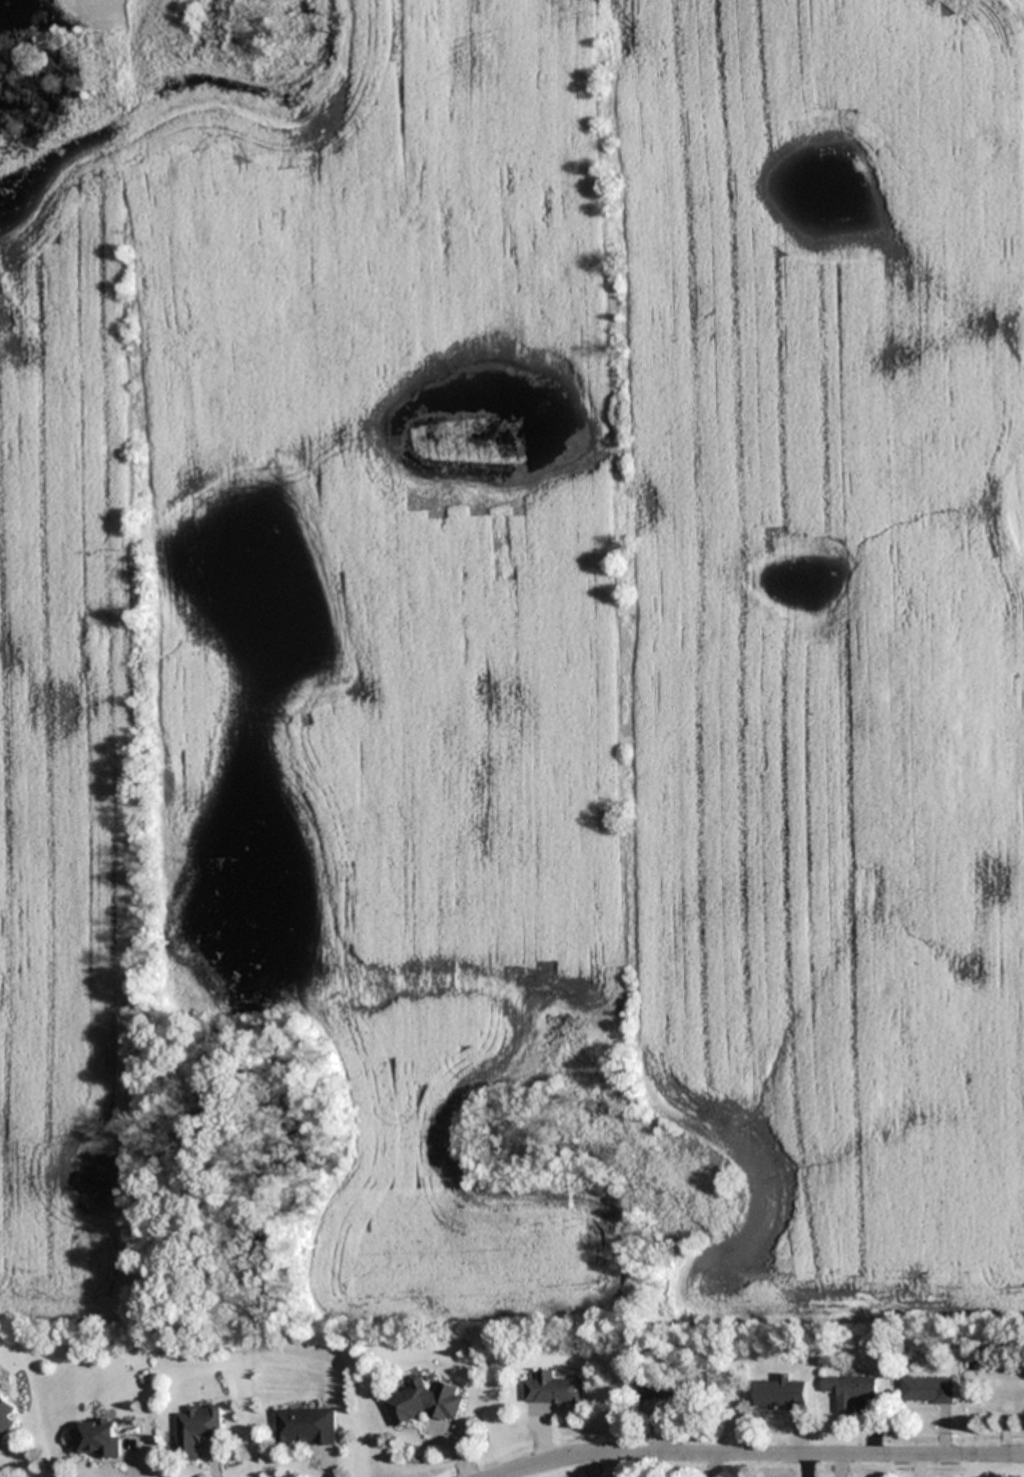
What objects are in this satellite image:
crop: (525, 640)
building: (658, 1386)
building: (554, 1390)
building: (927, 1390)
building: (850, 1391)
building: (425, 1402)
building: (6, 1417)
building: (306, 1427)
building: (198, 1430)
building: (98, 1439)
road: (761, 1454)

